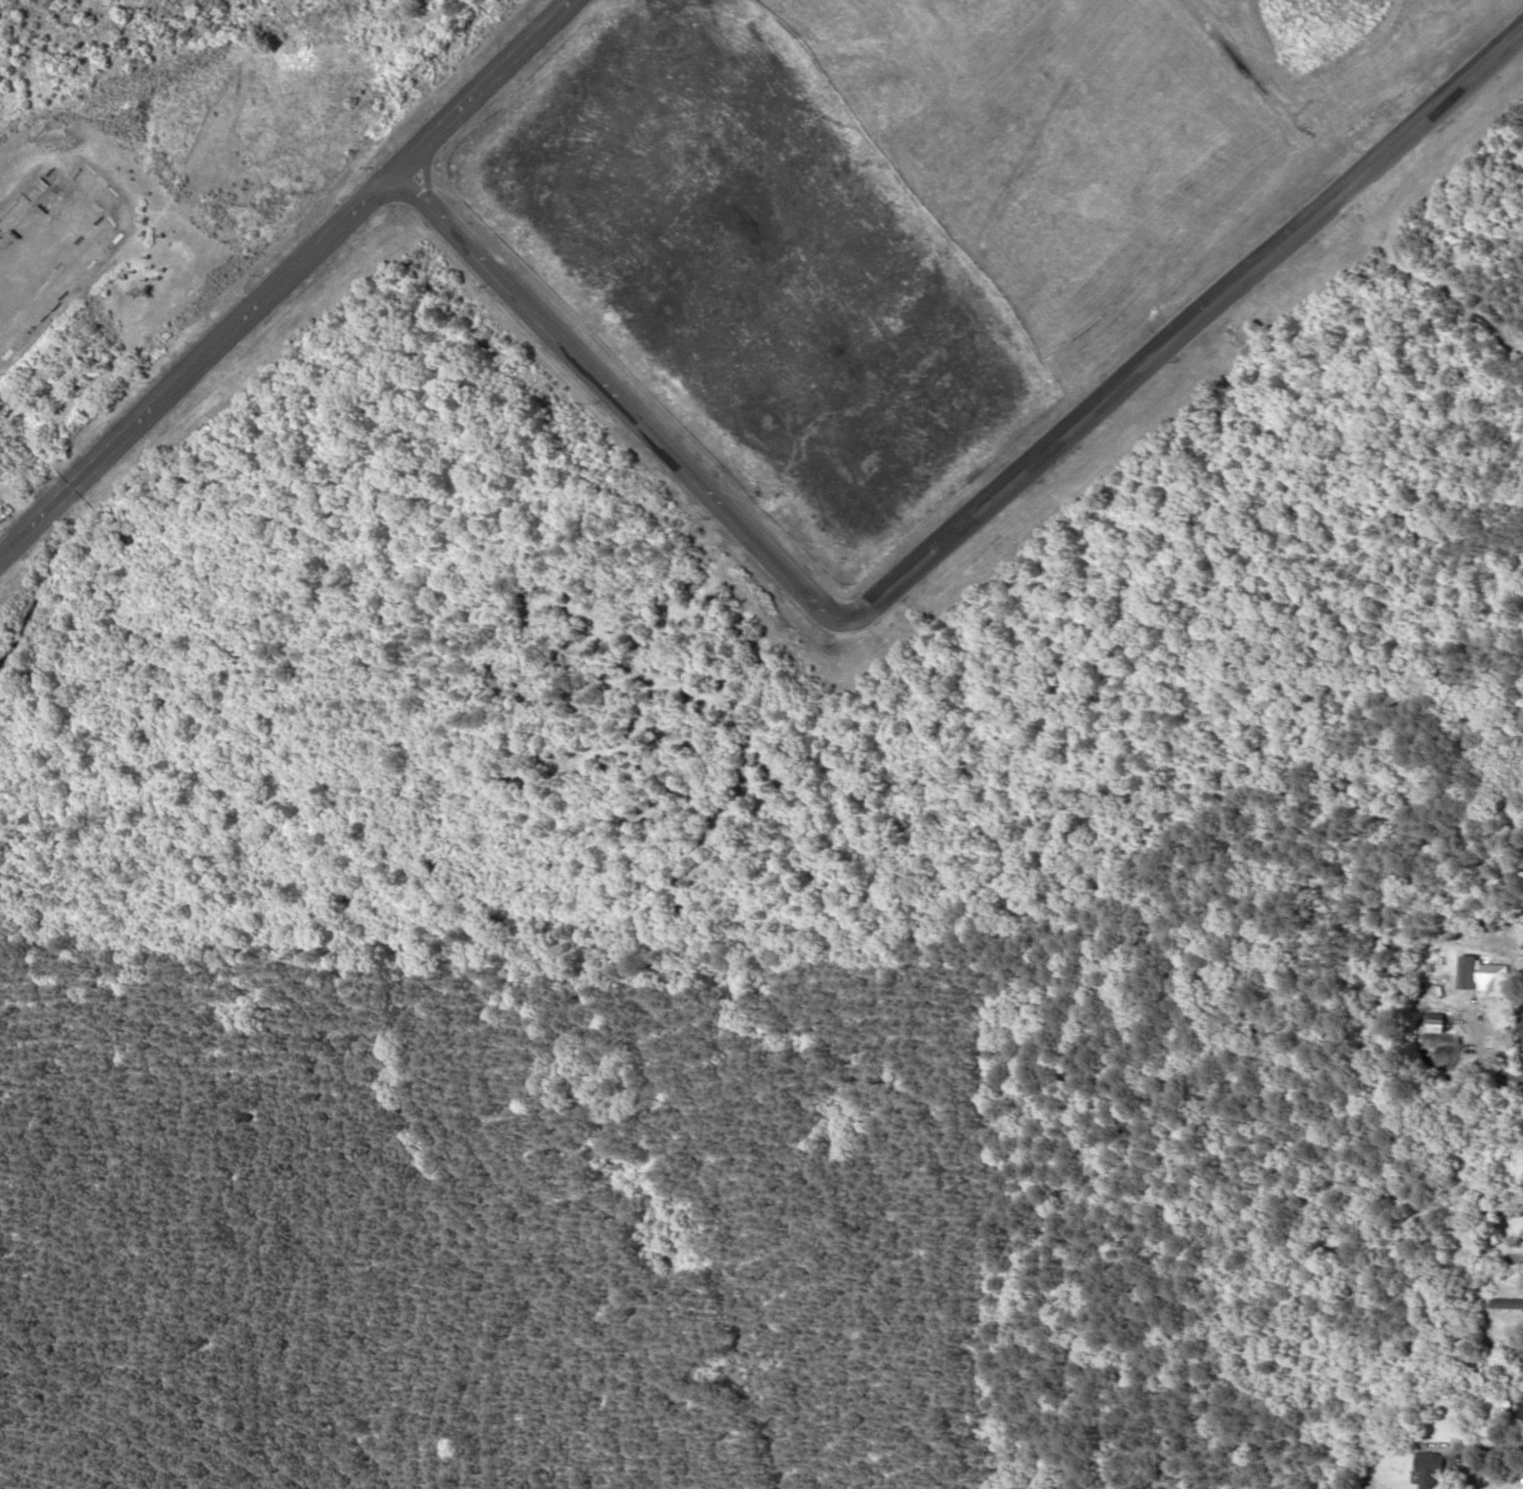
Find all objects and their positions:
road: (284, 277)
road: (947, 535)
building: (1483, 975)
building: (1437, 1021)
building: (1508, 1302)
building: (1430, 1461)

